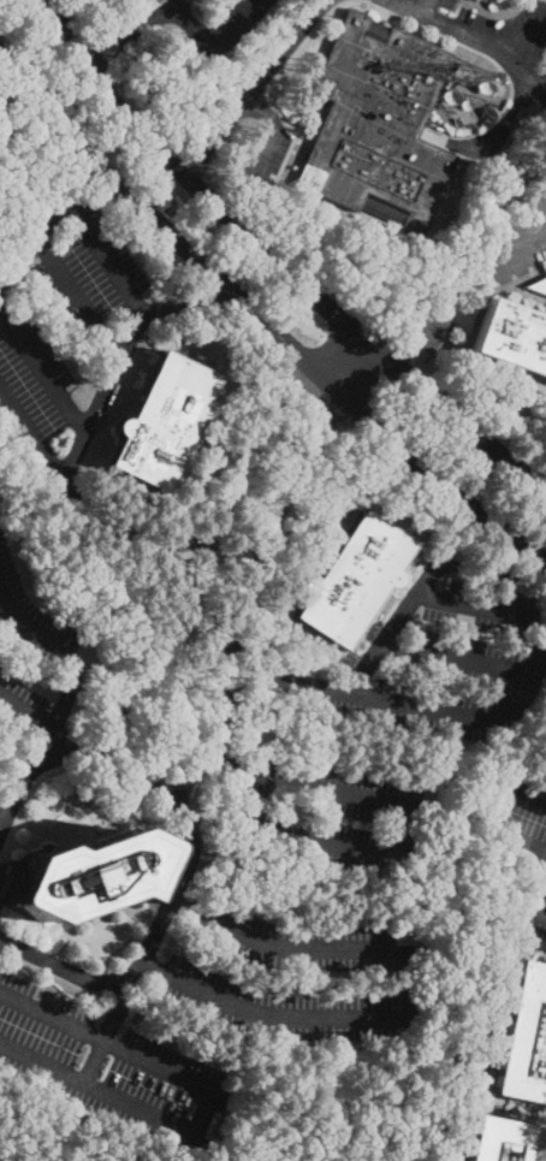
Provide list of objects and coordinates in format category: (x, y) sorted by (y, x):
road: (427, 6)
road: (155, 16)
parking lot: (222, 25)
road: (210, 29)
road: (464, 34)
road: (105, 37)
road: (520, 37)
parking lot: (491, 40)
road: (120, 60)
building: (463, 73)
road: (536, 81)
road: (253, 87)
road: (261, 106)
building: (378, 125)
road: (503, 126)
road: (262, 148)
parking lot: (266, 155)
road: (78, 207)
parking lot: (517, 235)
road: (512, 249)
road: (278, 263)
road: (170, 265)
building: (538, 285)
road: (78, 296)
road: (204, 300)
road: (427, 309)
road: (260, 318)
parking lot: (71, 332)
building: (514, 336)
road: (41, 363)
road: (352, 368)
road: (105, 384)
building: (161, 420)
road: (31, 437)
road: (451, 531)
road: (130, 533)
building: (536, 557)
road: (491, 567)
building: (351, 579)
road: (480, 605)
road: (26, 624)
road: (392, 624)
parking lot: (30, 650)
road: (250, 652)
road: (453, 657)
parking lot: (446, 659)
road: (244, 681)
road: (435, 709)
road: (28, 711)
building: (545, 729)
road: (54, 748)
road: (229, 765)
road: (149, 777)
road: (417, 805)
road: (503, 808)
parking lot: (336, 810)
parking lot: (518, 821)
road: (1, 822)
building: (81, 875)
road: (534, 906)
parking lot: (532, 907)
parking lot: (297, 935)
road: (149, 943)
road: (283, 944)
parking lot: (284, 1008)
road: (267, 1013)
road: (108, 1030)
building: (524, 1037)
parking lot: (111, 1060)
road: (206, 1102)
building: (499, 1139)

